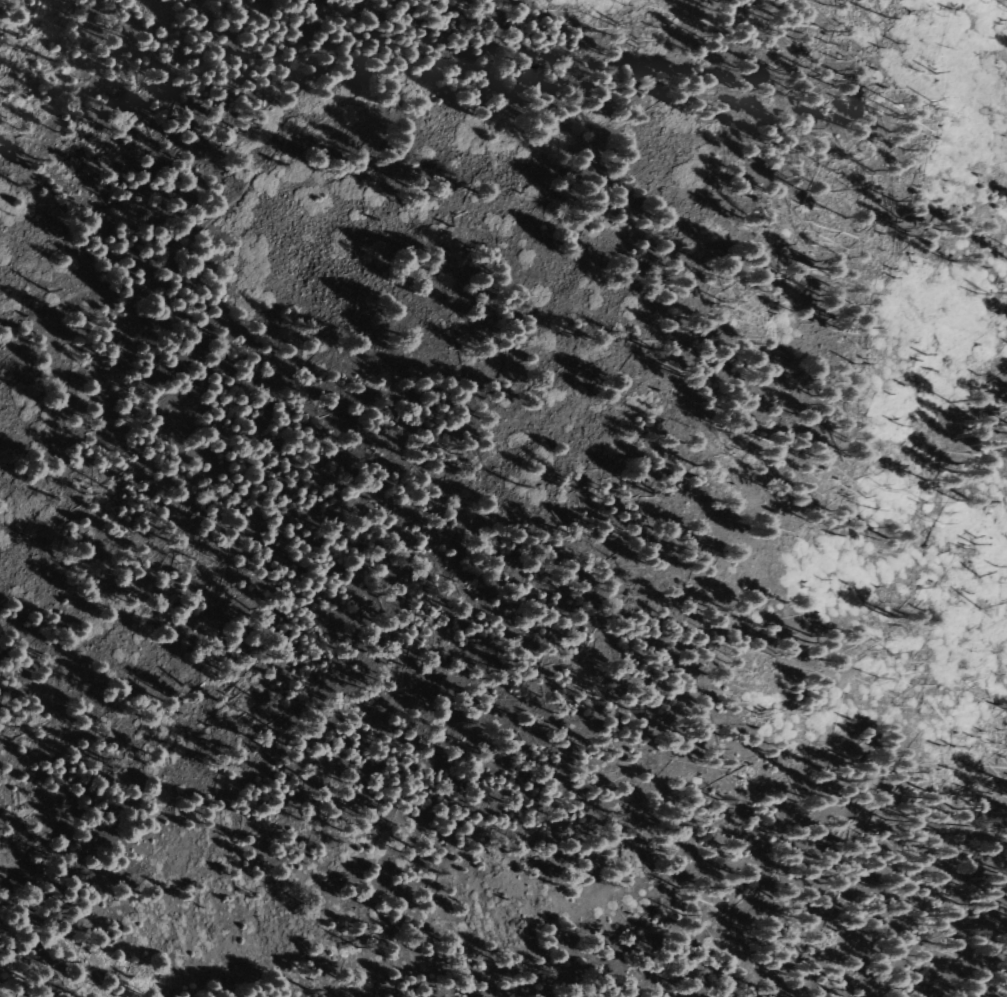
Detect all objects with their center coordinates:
road: (242, 187)

